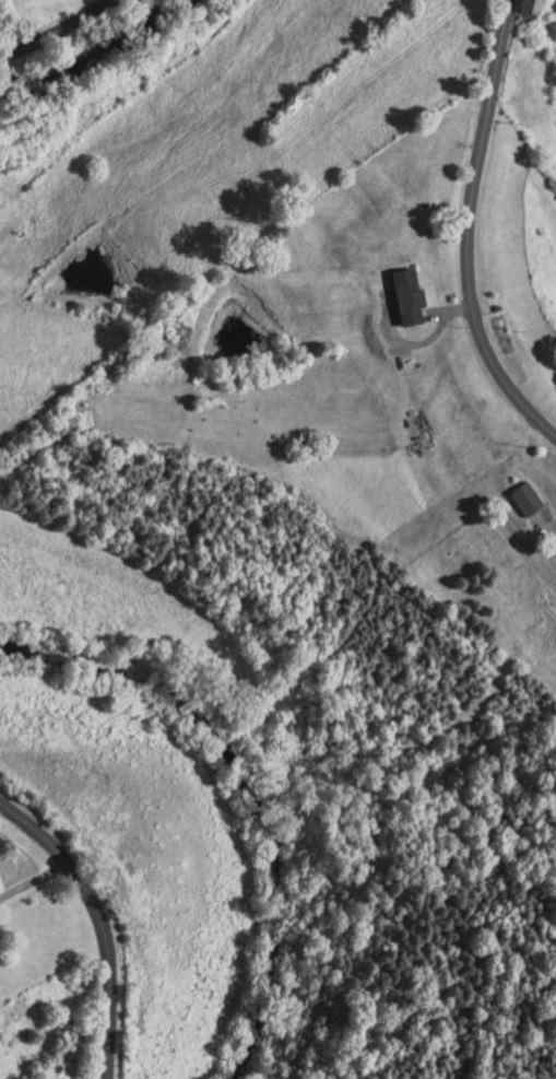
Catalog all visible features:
building: (528, 10)
road: (57, 31)
road: (468, 230)
building: (409, 294)
road: (447, 310)
road: (404, 344)
building: (527, 497)
road: (544, 520)
road: (34, 878)
road: (99, 919)

